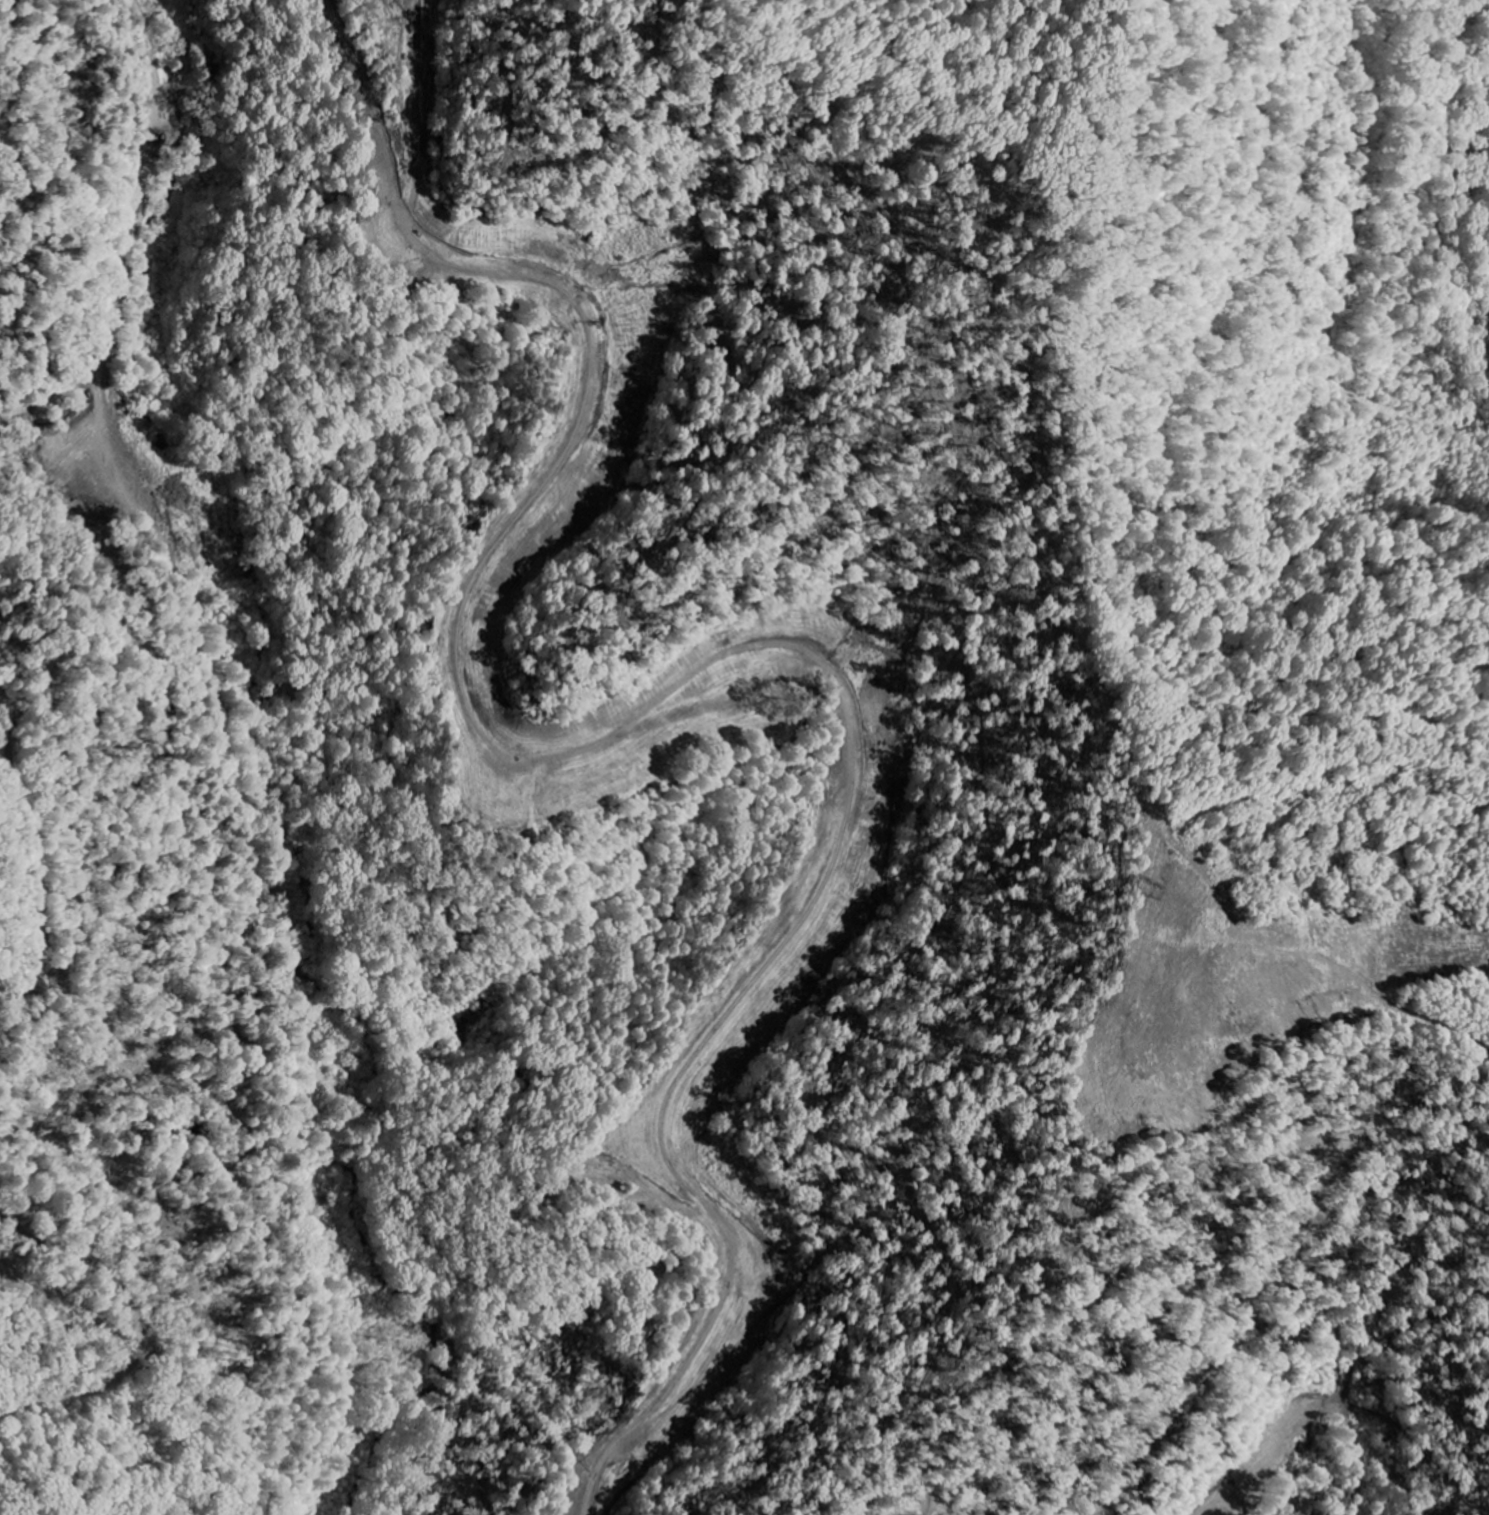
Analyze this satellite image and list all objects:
road: (20, 24)
road: (201, 750)

